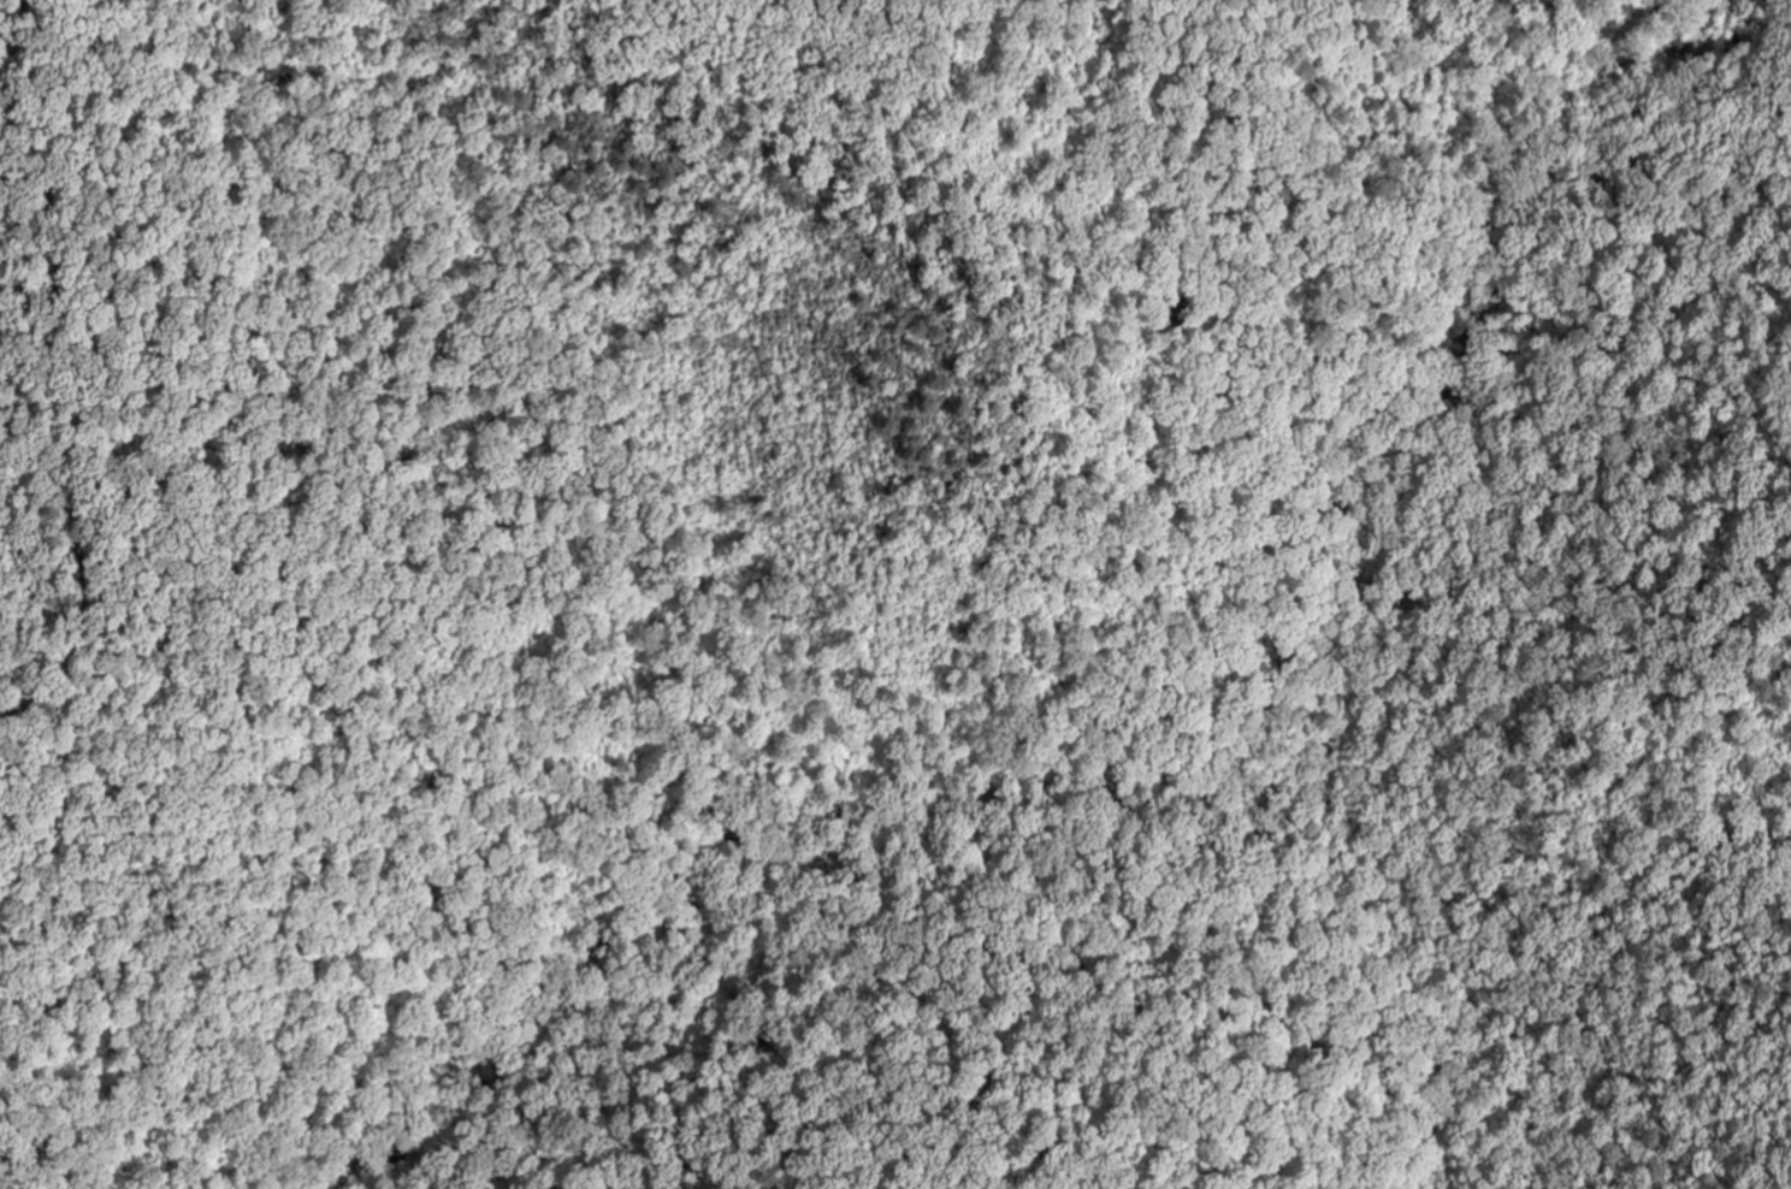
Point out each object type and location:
road: (81, 381)

